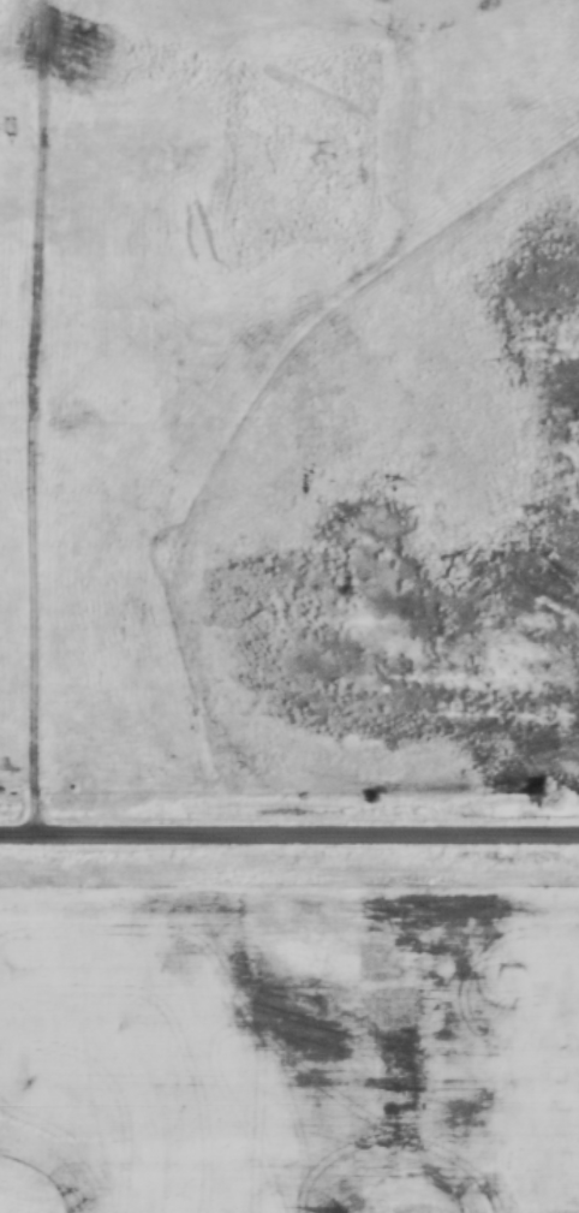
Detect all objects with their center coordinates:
road: (288, 837)

